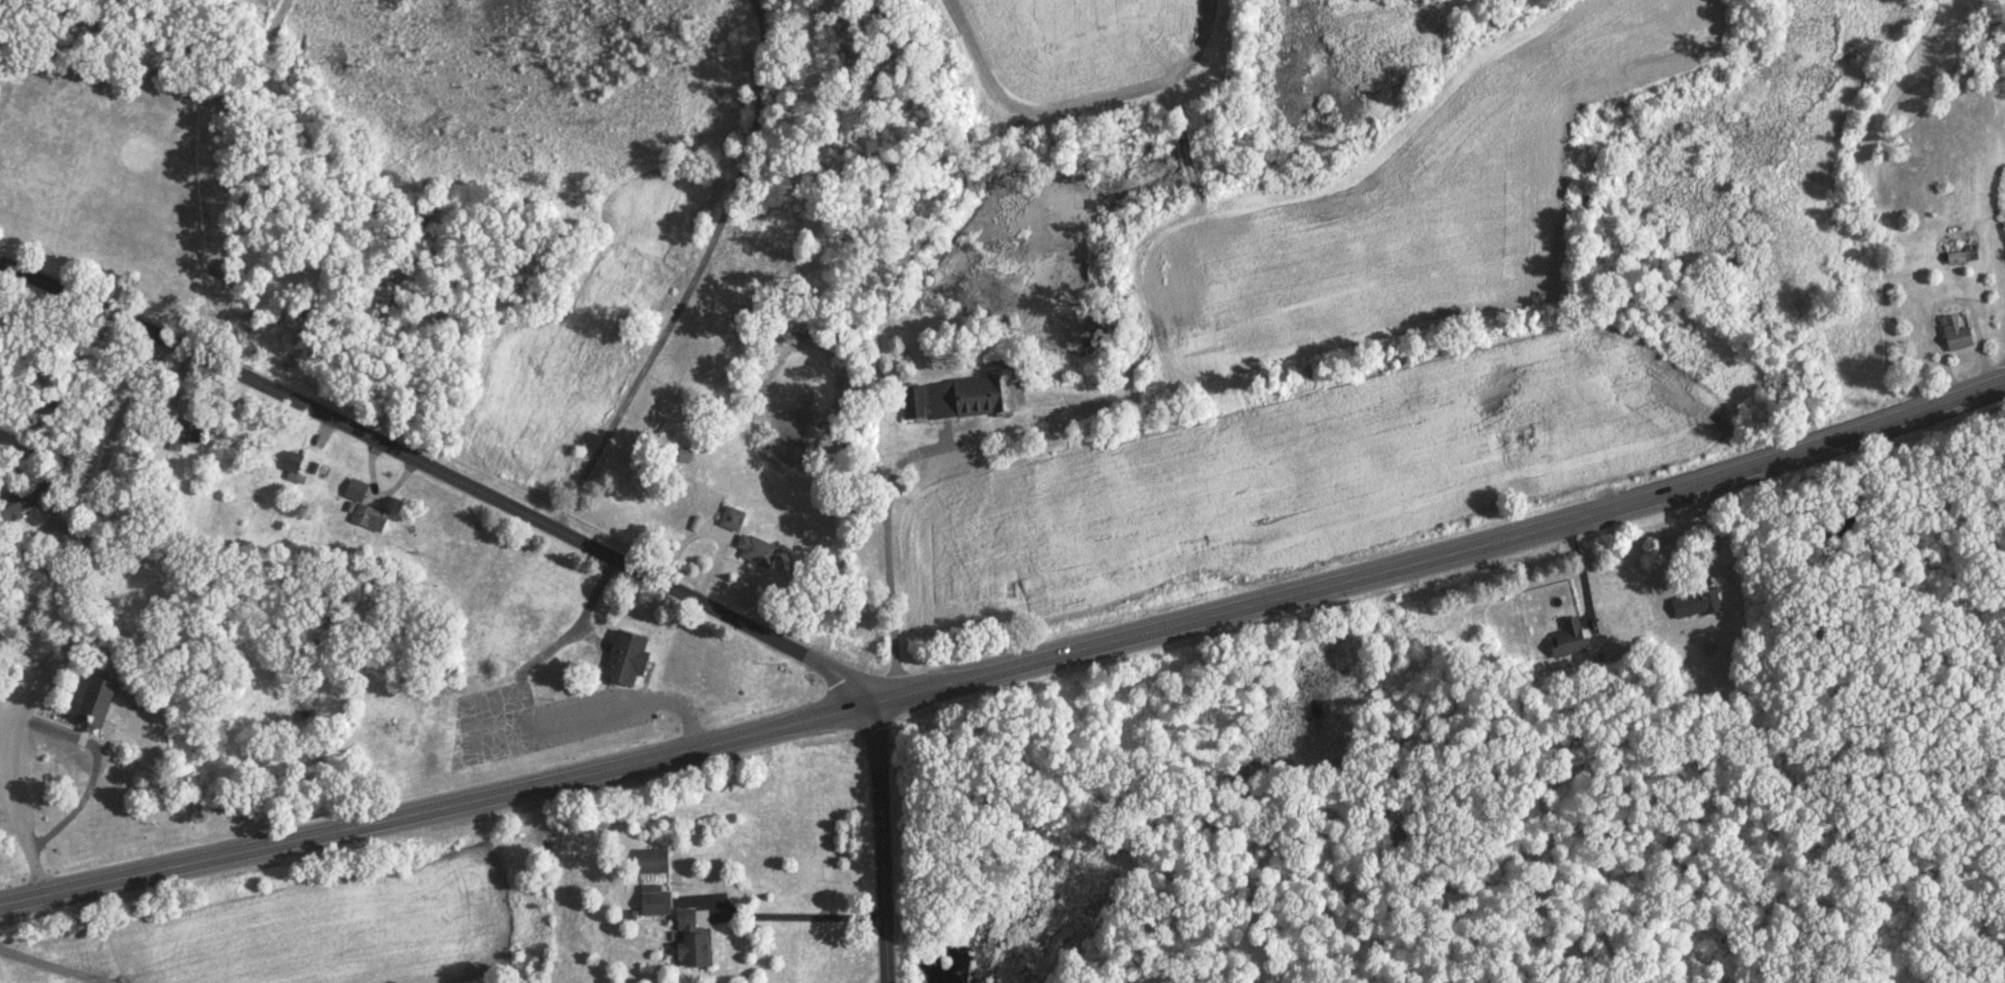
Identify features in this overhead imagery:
building: (1962, 259)
building: (1957, 336)
building: (963, 399)
road: (1883, 404)
building: (182, 437)
building: (41, 448)
road: (439, 471)
building: (26, 503)
building: (366, 510)
building: (736, 521)
road: (887, 544)
building: (760, 553)
road: (1322, 568)
building: (1699, 606)
road: (82, 611)
building: (1570, 642)
building: (628, 661)
building: (96, 710)
road: (440, 790)
road: (884, 831)
building: (656, 864)
building: (658, 907)
road: (799, 918)
building: (696, 943)
road: (45, 965)

